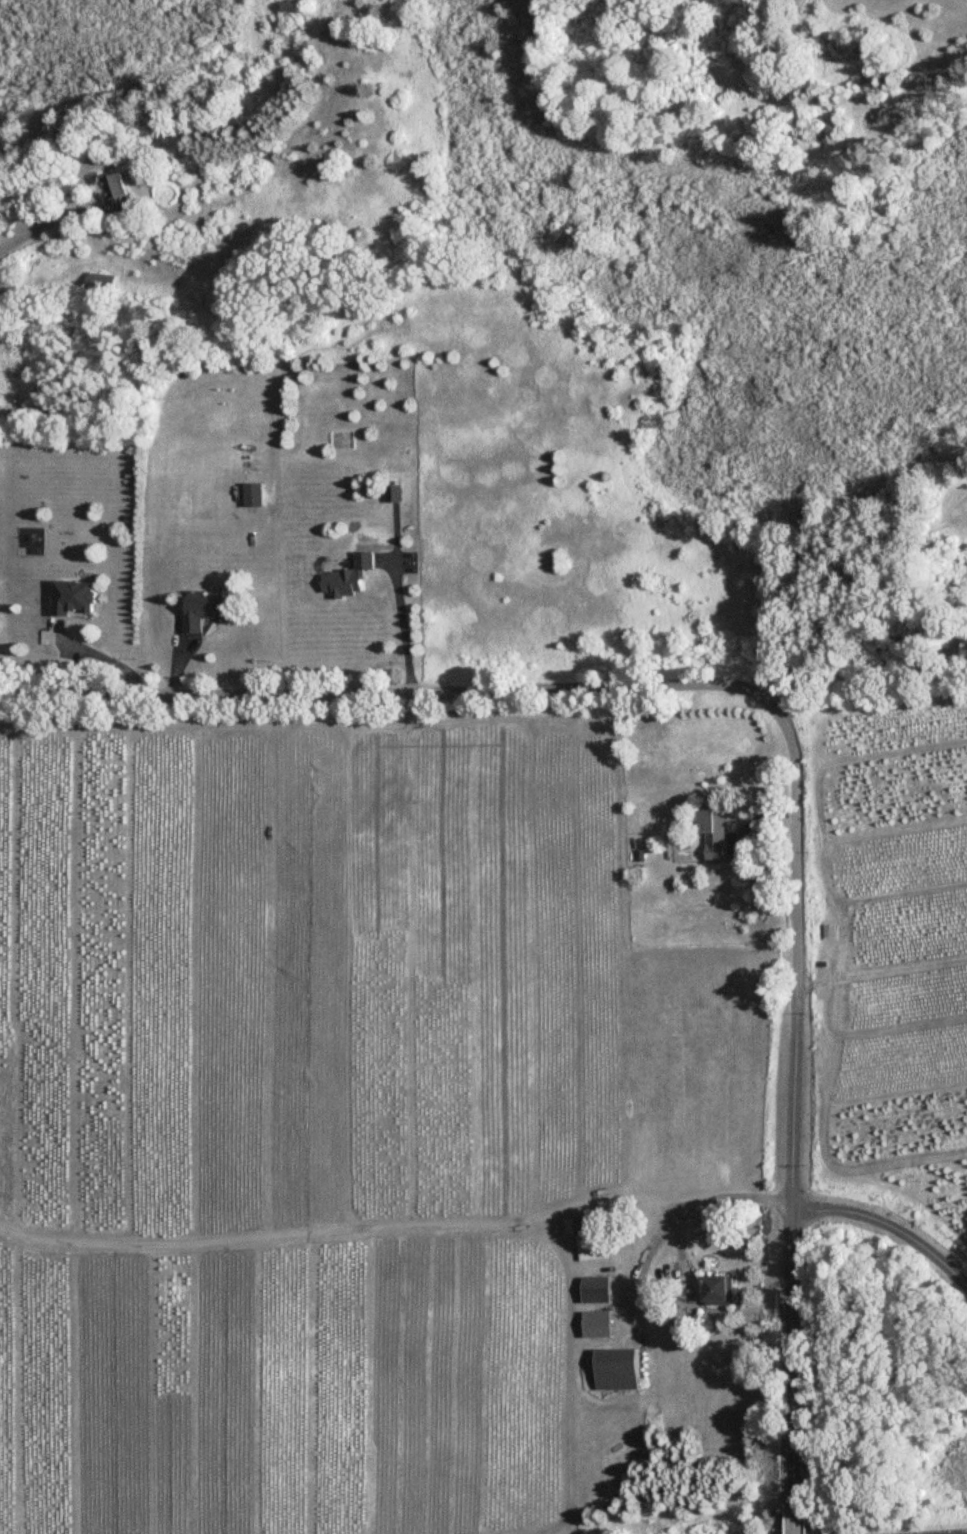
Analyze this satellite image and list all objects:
crop: (897, 26)
building: (122, 194)
road: (40, 219)
building: (98, 285)
building: (395, 494)
building: (256, 495)
crop: (951, 501)
building: (353, 578)
building: (77, 598)
building: (210, 611)
road: (406, 617)
road: (527, 679)
building: (711, 828)
road: (762, 878)
building: (822, 934)
crop: (897, 961)
crop: (297, 1118)
road: (394, 1222)
road: (889, 1225)
building: (594, 1236)
road: (789, 1246)
building: (600, 1289)
building: (722, 1290)
building: (600, 1324)
building: (617, 1368)
road: (787, 1525)

